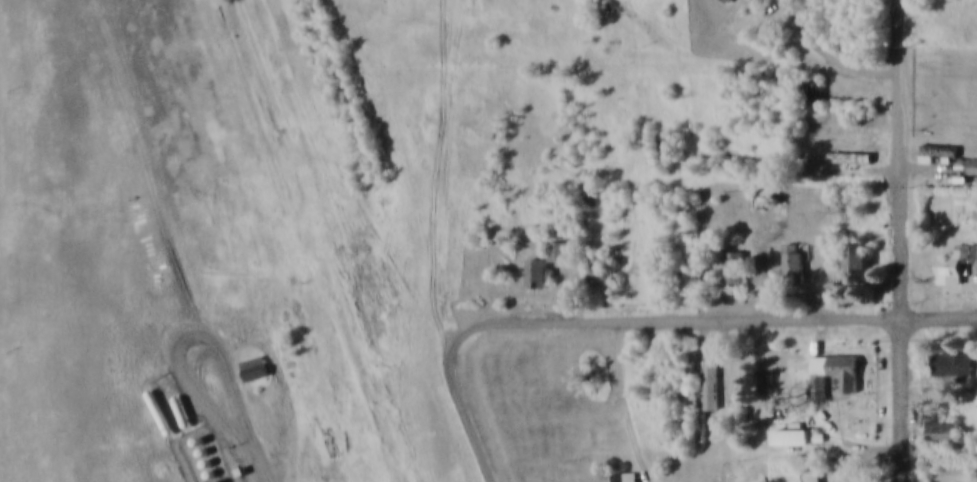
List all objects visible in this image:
building: (725, 1)
road: (818, 32)
road: (753, 54)
building: (947, 70)
building: (946, 88)
building: (854, 90)
building: (852, 109)
building: (935, 136)
building: (846, 141)
building: (935, 153)
building: (845, 159)
road: (457, 164)
building: (780, 190)
building: (559, 236)
road: (903, 241)
building: (855, 245)
building: (793, 247)
building: (955, 248)
building: (557, 252)
building: (595, 255)
building: (666, 255)
building: (735, 255)
building: (537, 258)
building: (953, 266)
building: (599, 269)
building: (665, 273)
building: (535, 275)
road: (717, 316)
road: (188, 321)
building: (951, 346)
building: (255, 352)
building: (847, 354)
building: (689, 360)
building: (952, 364)
building: (253, 369)
building: (284, 369)
building: (715, 370)
building: (821, 375)
storage tank: (181, 397)
storage tank: (158, 398)
road: (473, 405)
building: (700, 407)
building: (944, 415)
building: (799, 420)
storage tank: (201, 424)
building: (942, 433)
storage tank: (205, 435)
road: (261, 445)
storage tank: (208, 446)
building: (240, 456)
storage tank: (212, 457)
building: (626, 467)
storage tank: (217, 469)
storage tank: (221, 478)
building: (937, 480)

